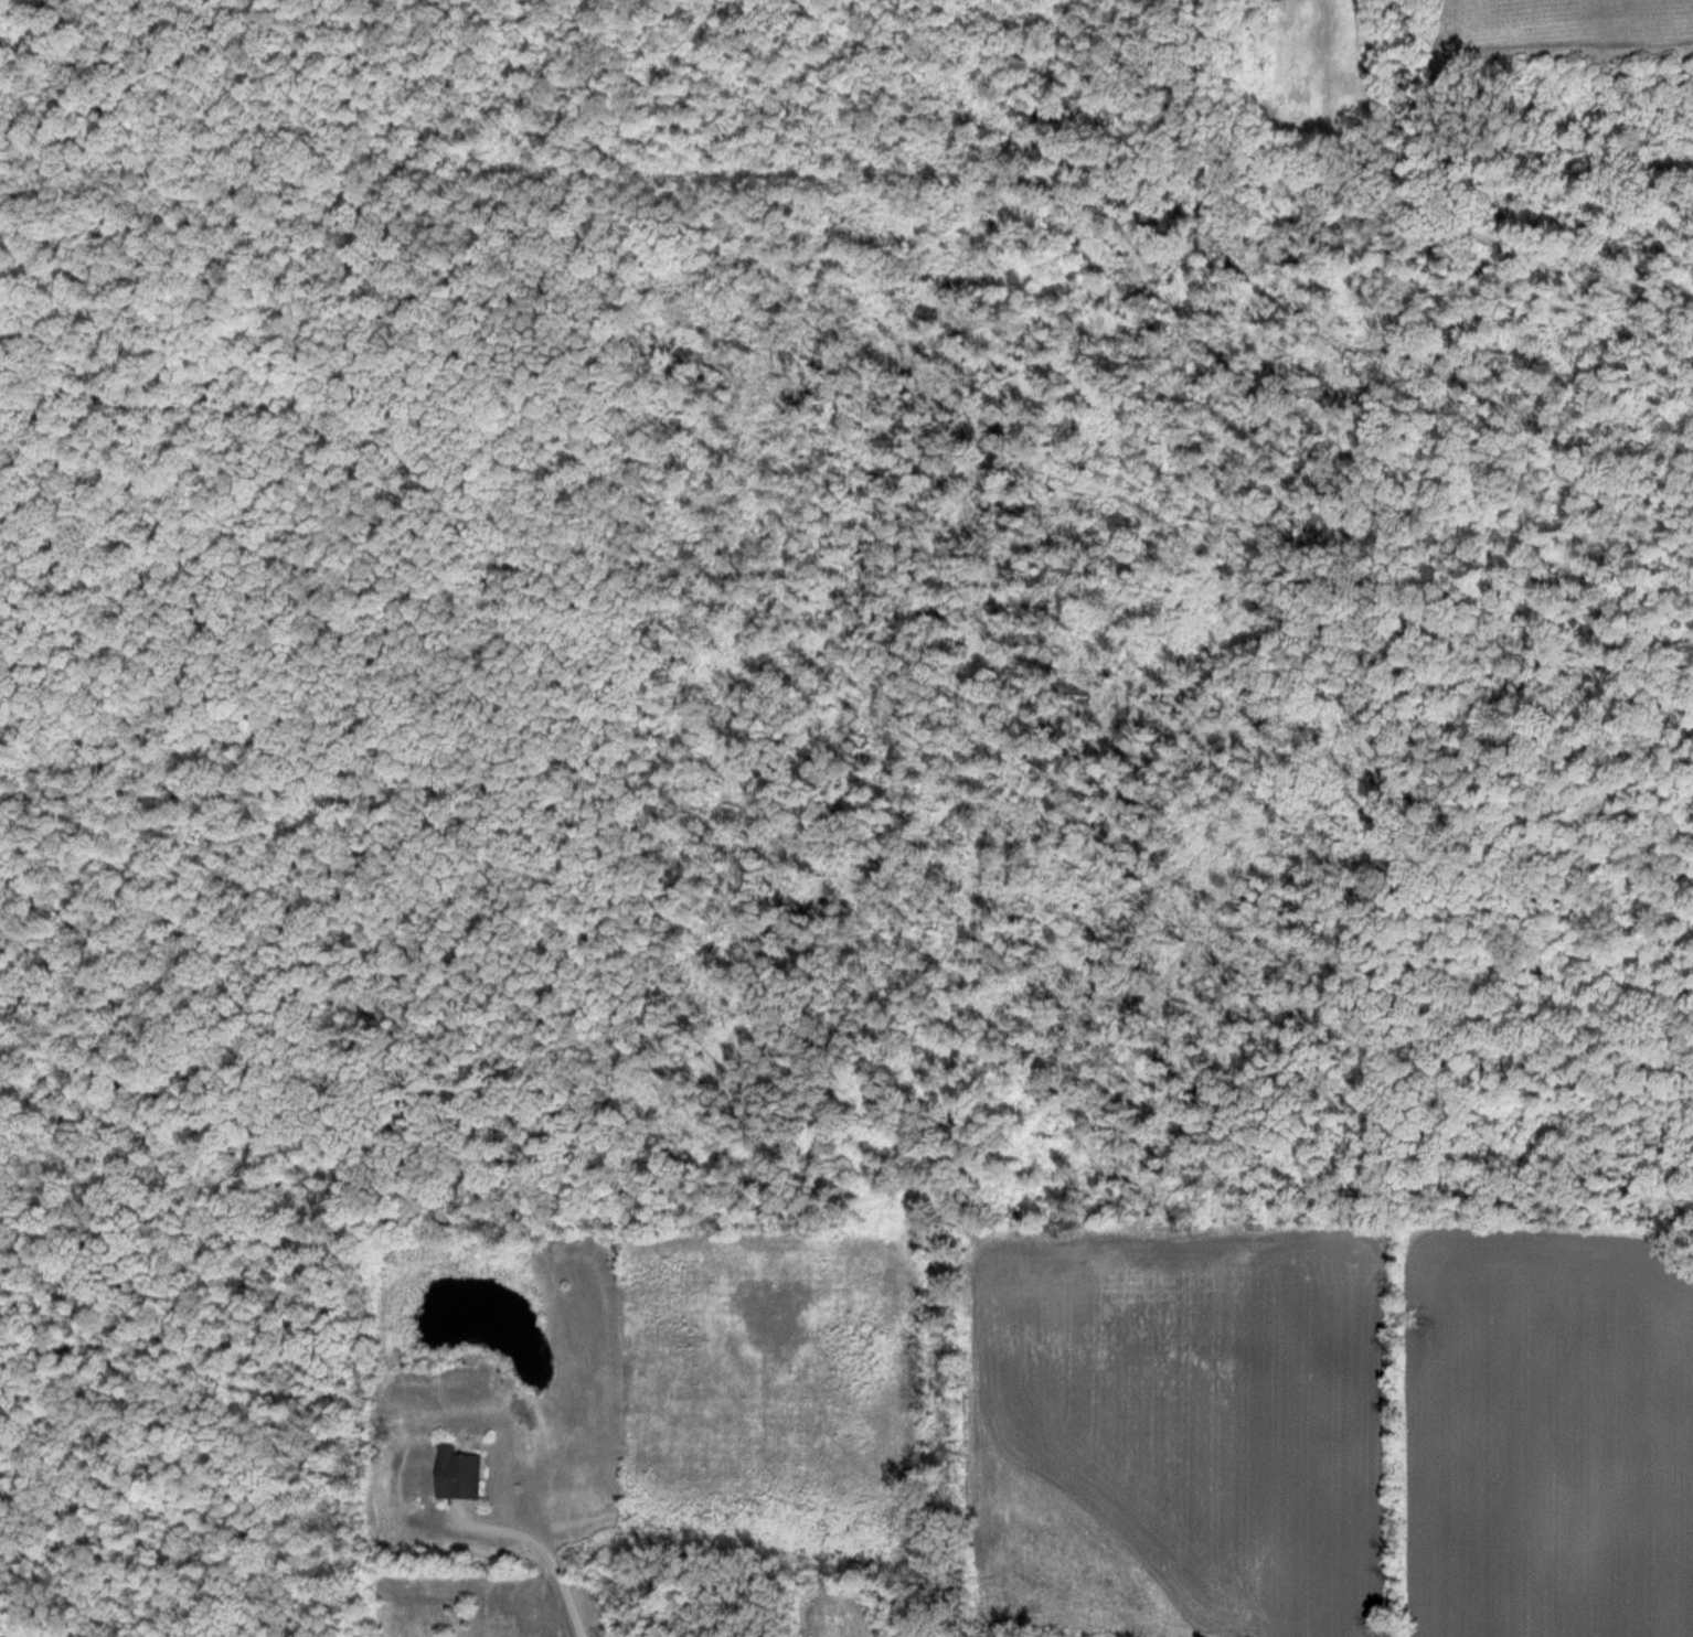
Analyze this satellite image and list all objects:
building: (462, 1475)
road: (549, 1549)

